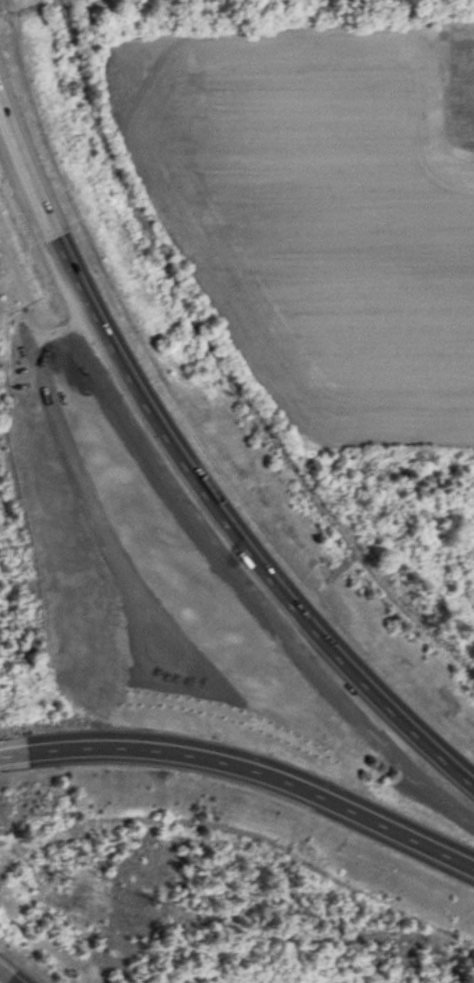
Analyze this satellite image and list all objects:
road: (191, 477)
road: (246, 769)
road: (3, 980)

